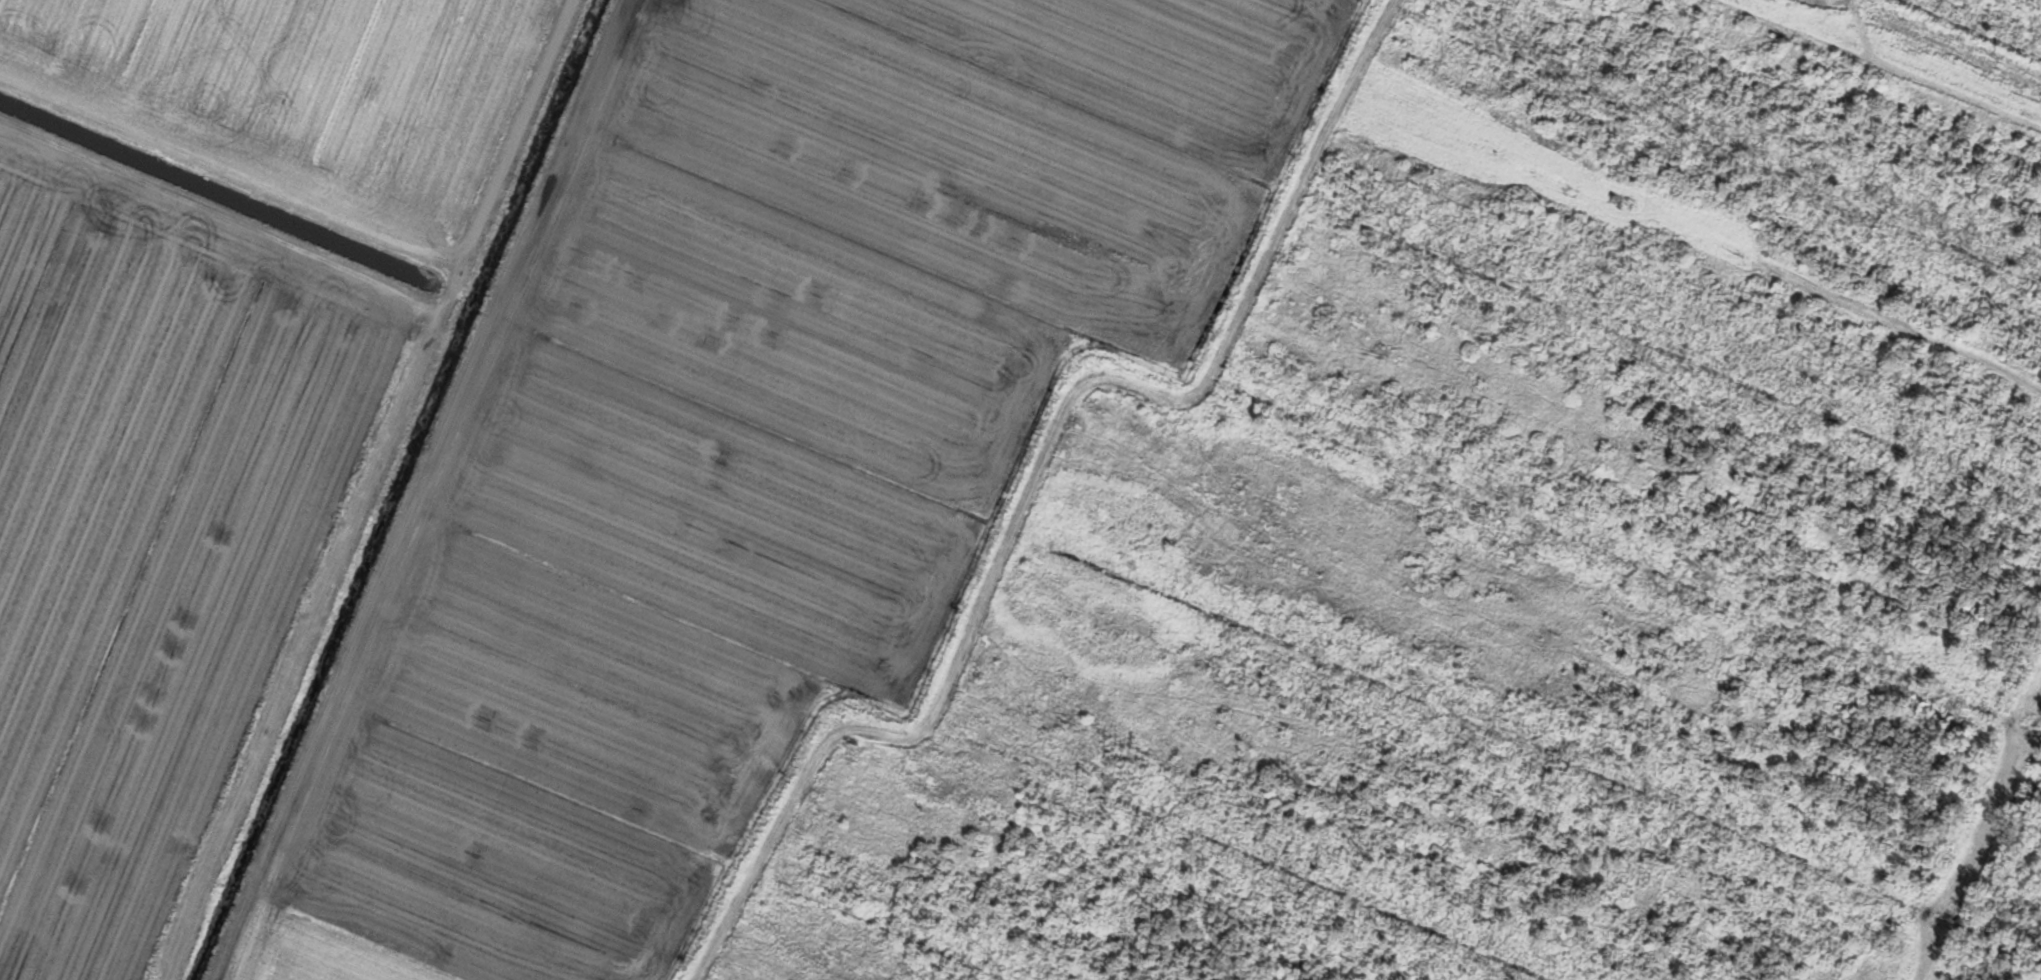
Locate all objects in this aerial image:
crop: (536, 429)
road: (366, 490)
road: (1981, 846)

